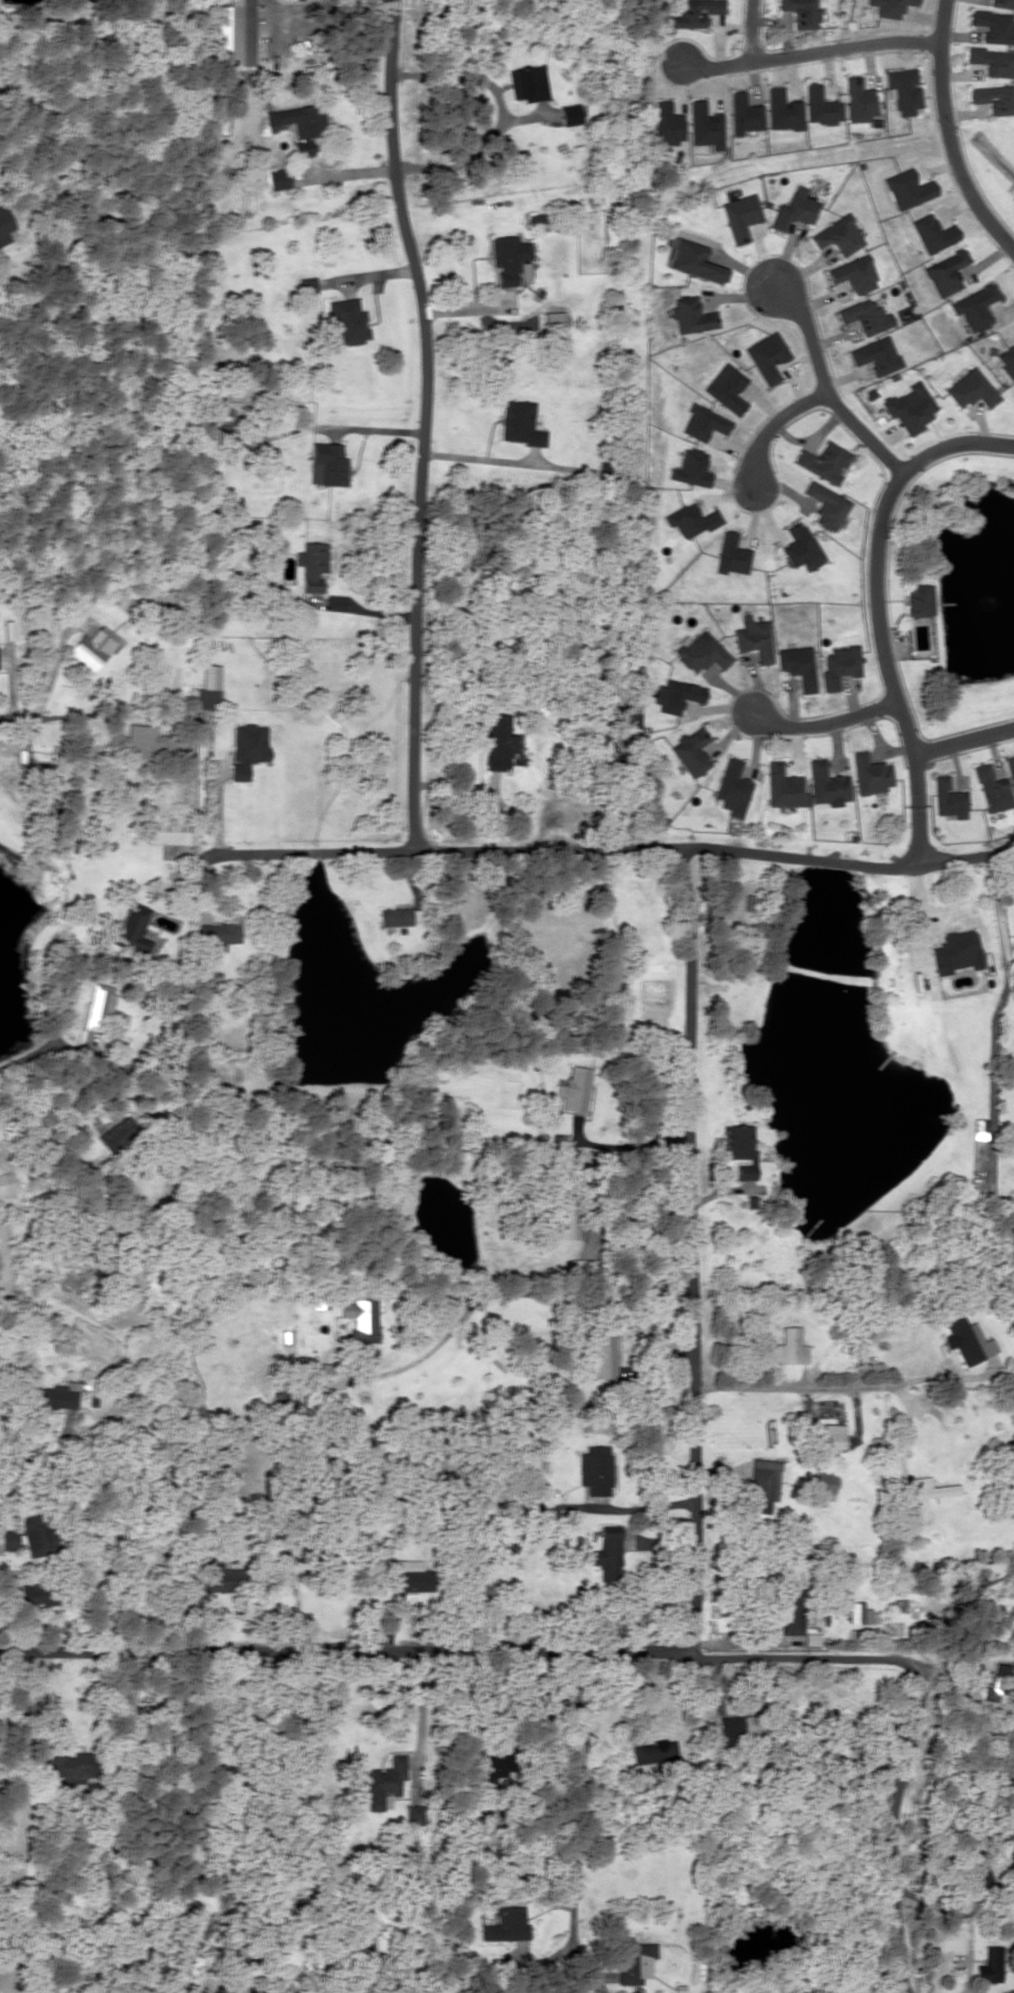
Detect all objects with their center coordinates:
building: (1002, 3)
building: (890, 7)
building: (693, 12)
building: (801, 12)
building: (994, 26)
road: (752, 28)
building: (240, 32)
road: (808, 49)
building: (992, 61)
building: (528, 83)
building: (903, 90)
building: (993, 98)
building: (858, 100)
building: (821, 105)
building: (782, 110)
building: (743, 113)
building: (570, 114)
building: (299, 123)
building: (667, 123)
building: (705, 125)
road: (948, 132)
building: (278, 178)
building: (907, 189)
building: (794, 209)
building: (739, 216)
building: (536, 218)
building: (4, 225)
building: (932, 233)
building: (838, 235)
building: (510, 259)
building: (691, 259)
building: (946, 272)
building: (853, 274)
building: (307, 284)
building: (975, 307)
building: (691, 315)
building: (866, 316)
building: (348, 319)
building: (548, 321)
building: (876, 355)
building: (767, 356)
building: (1006, 359)
building: (727, 388)
road: (826, 388)
building: (971, 389)
building: (909, 407)
road: (422, 422)
building: (520, 423)
building: (705, 427)
road: (769, 431)
building: (218, 433)
building: (824, 461)
building: (326, 464)
building: (692, 468)
building: (826, 505)
building: (691, 520)
building: (798, 546)
building: (732, 554)
building: (311, 565)
building: (918, 600)
road: (879, 608)
building: (754, 638)
building: (94, 646)
building: (702, 652)
building: (797, 665)
building: (838, 665)
building: (676, 695)
building: (205, 697)
road: (20, 719)
road: (825, 728)
building: (498, 740)
building: (140, 741)
road: (963, 741)
building: (246, 748)
building: (691, 751)
building: (37, 768)
building: (1010, 770)
building: (869, 773)
building: (825, 784)
building: (782, 787)
building: (731, 788)
building: (991, 789)
building: (947, 798)
building: (165, 832)
road: (613, 848)
building: (395, 916)
building: (132, 928)
building: (217, 933)
building: (955, 951)
building: (99, 1006)
road: (27, 1054)
building: (574, 1089)
building: (738, 1148)
building: (579, 1267)
building: (359, 1319)
building: (966, 1340)
building: (789, 1346)
building: (603, 1358)
building: (55, 1396)
building: (831, 1440)
building: (594, 1470)
building: (822, 1483)
building: (762, 1484)
building: (929, 1488)
building: (37, 1535)
building: (9, 1538)
building: (605, 1555)
building: (409, 1576)
building: (222, 1579)
building: (38, 1593)
road: (689, 1594)
building: (789, 1610)
building: (860, 1613)
building: (996, 1683)
road: (913, 1718)
building: (653, 1752)
building: (823, 1753)
building: (485, 1766)
building: (70, 1767)
building: (383, 1781)
road: (578, 1784)
building: (980, 1878)
building: (505, 1924)
building: (636, 1962)
building: (987, 1965)

